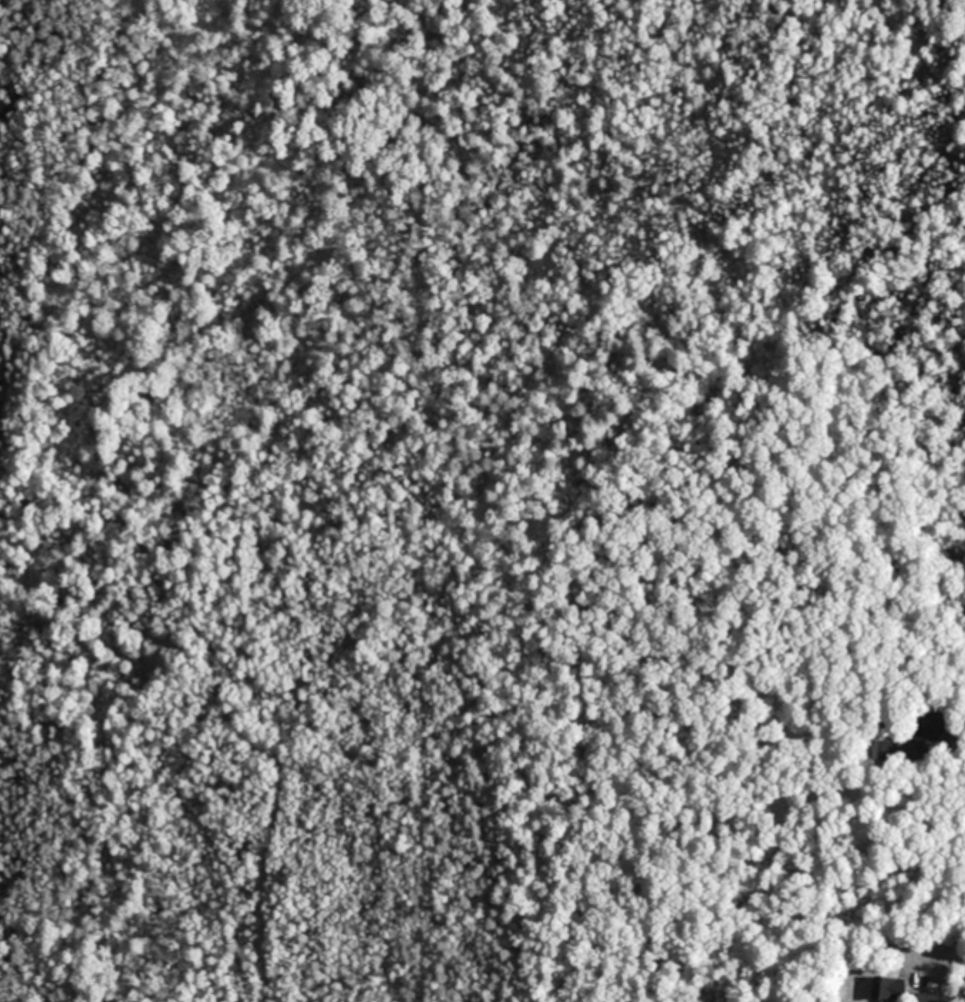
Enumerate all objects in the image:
road: (953, 703)
road: (945, 952)
building: (888, 987)
building: (932, 997)

